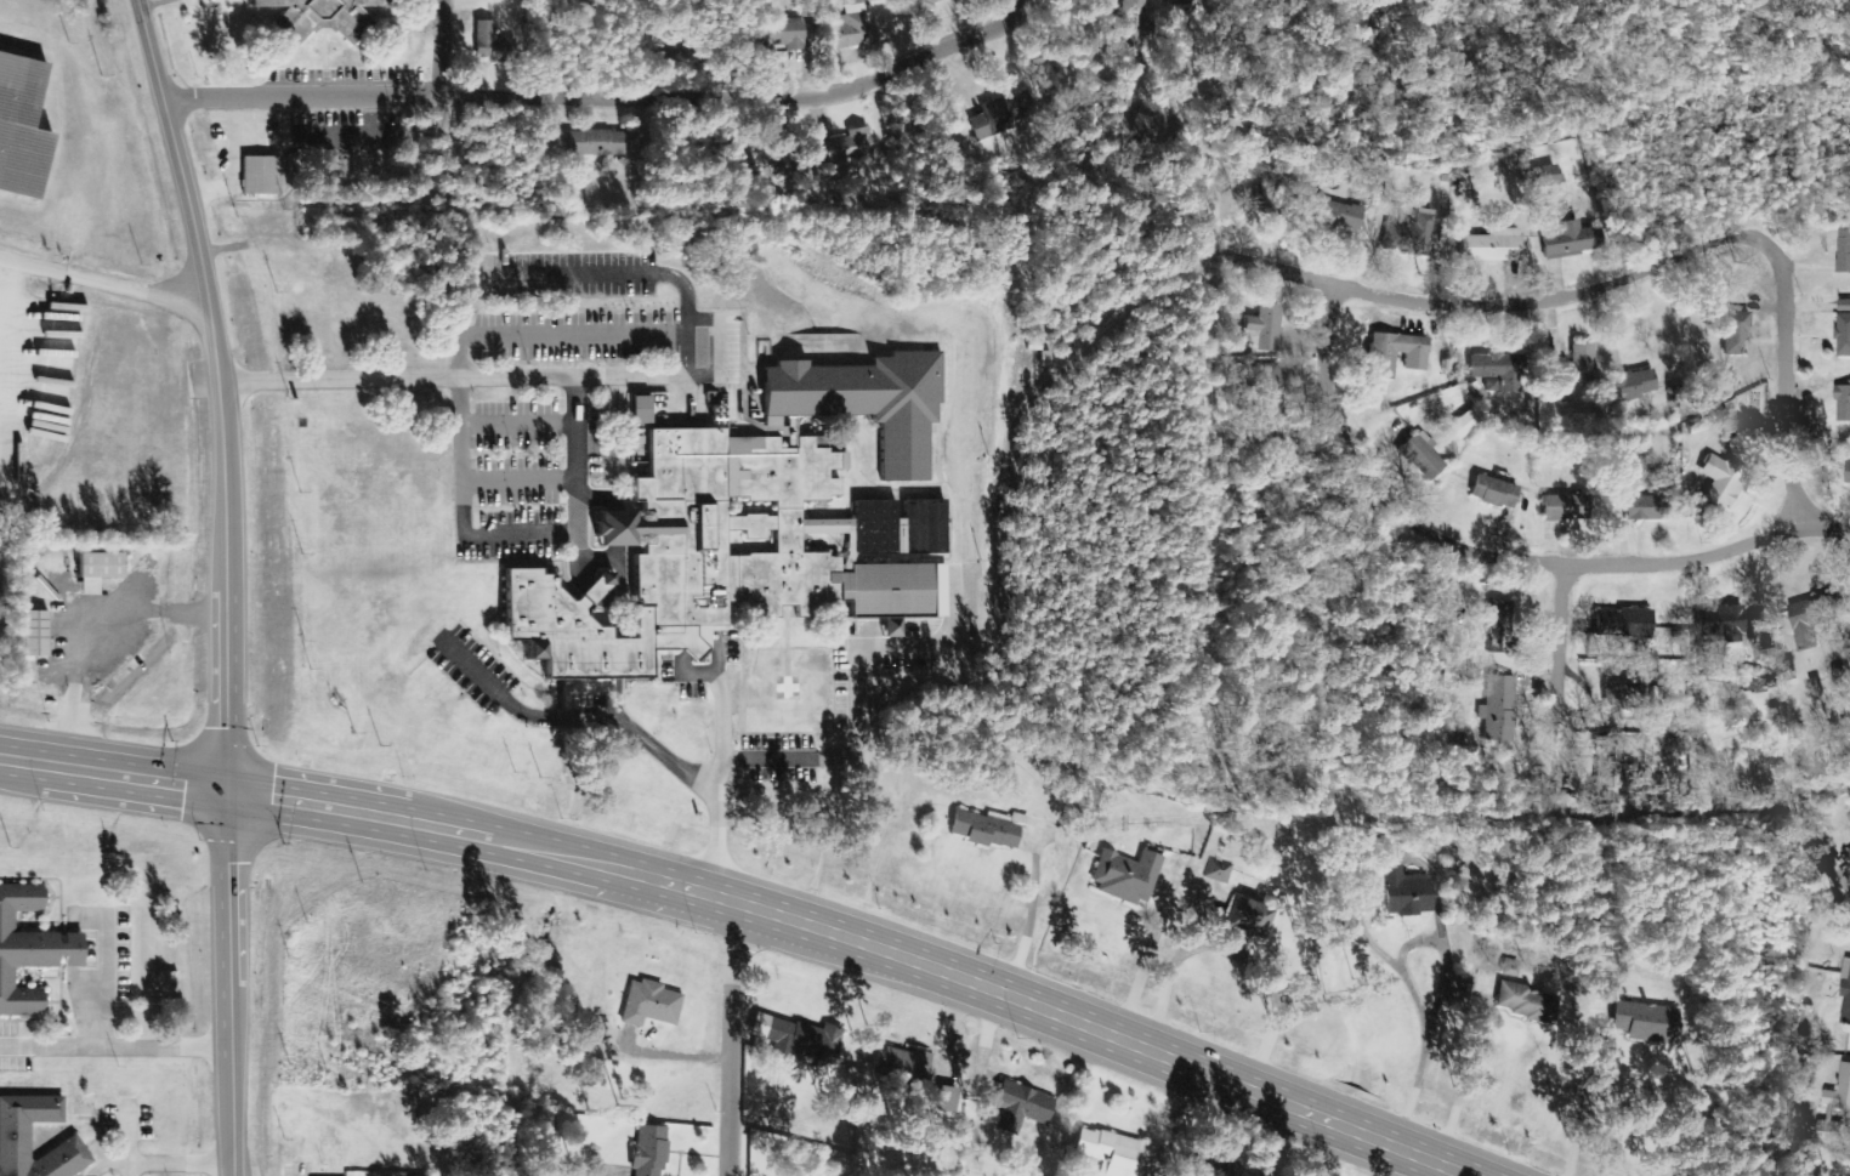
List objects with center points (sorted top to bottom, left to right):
building: (1187, 2)
building: (920, 4)
building: (357, 24)
building: (849, 27)
building: (779, 34)
building: (487, 45)
road: (443, 47)
road: (602, 96)
building: (1000, 114)
building: (21, 125)
building: (592, 143)
building: (842, 149)
building: (1249, 154)
building: (259, 176)
building: (1542, 176)
building: (1463, 183)
building: (1332, 212)
building: (1408, 234)
building: (1568, 240)
building: (1489, 246)
building: (1843, 250)
road: (634, 274)
road: (102, 282)
road: (1481, 305)
building: (1843, 328)
building: (1262, 329)
building: (1732, 334)
building: (1379, 362)
building: (1578, 367)
building: (1496, 369)
road: (450, 376)
road: (1781, 379)
building: (1635, 384)
road: (459, 388)
building: (1266, 390)
building: (1843, 403)
building: (639, 409)
building: (1464, 422)
road: (522, 424)
building: (1419, 455)
building: (1848, 473)
road: (523, 479)
road: (586, 479)
building: (1718, 483)
building: (1491, 493)
building: (1641, 505)
building: (1562, 507)
building: (764, 518)
road: (606, 545)
road: (625, 546)
road: (1496, 556)
building: (92, 570)
road: (223, 583)
building: (1809, 619)
building: (1718, 623)
building: (1619, 624)
building: (1498, 626)
building: (30, 634)
building: (1754, 680)
helipad: (787, 688)
road: (1559, 691)
building: (1623, 695)
building: (1657, 705)
building: (1494, 712)
road: (577, 714)
road: (720, 721)
road: (838, 755)
building: (1607, 768)
building: (1642, 784)
traffic signals: (227, 791)
building: (986, 829)
building: (1848, 850)
building: (1124, 876)
building: (1215, 881)
building: (1404, 892)
road: (750, 905)
building: (1245, 917)
building: (28, 950)
building: (1510, 968)
road: (104, 977)
building: (1845, 993)
building: (648, 1004)
building: (1525, 1004)
building: (1642, 1022)
road: (731, 1039)
building: (795, 1039)
road: (115, 1043)
building: (901, 1067)
building: (1839, 1091)
building: (1017, 1107)
road: (125, 1131)
building: (67, 1147)
building: (648, 1151)
building: (1106, 1152)
road: (178, 1160)
road: (112, 1163)

